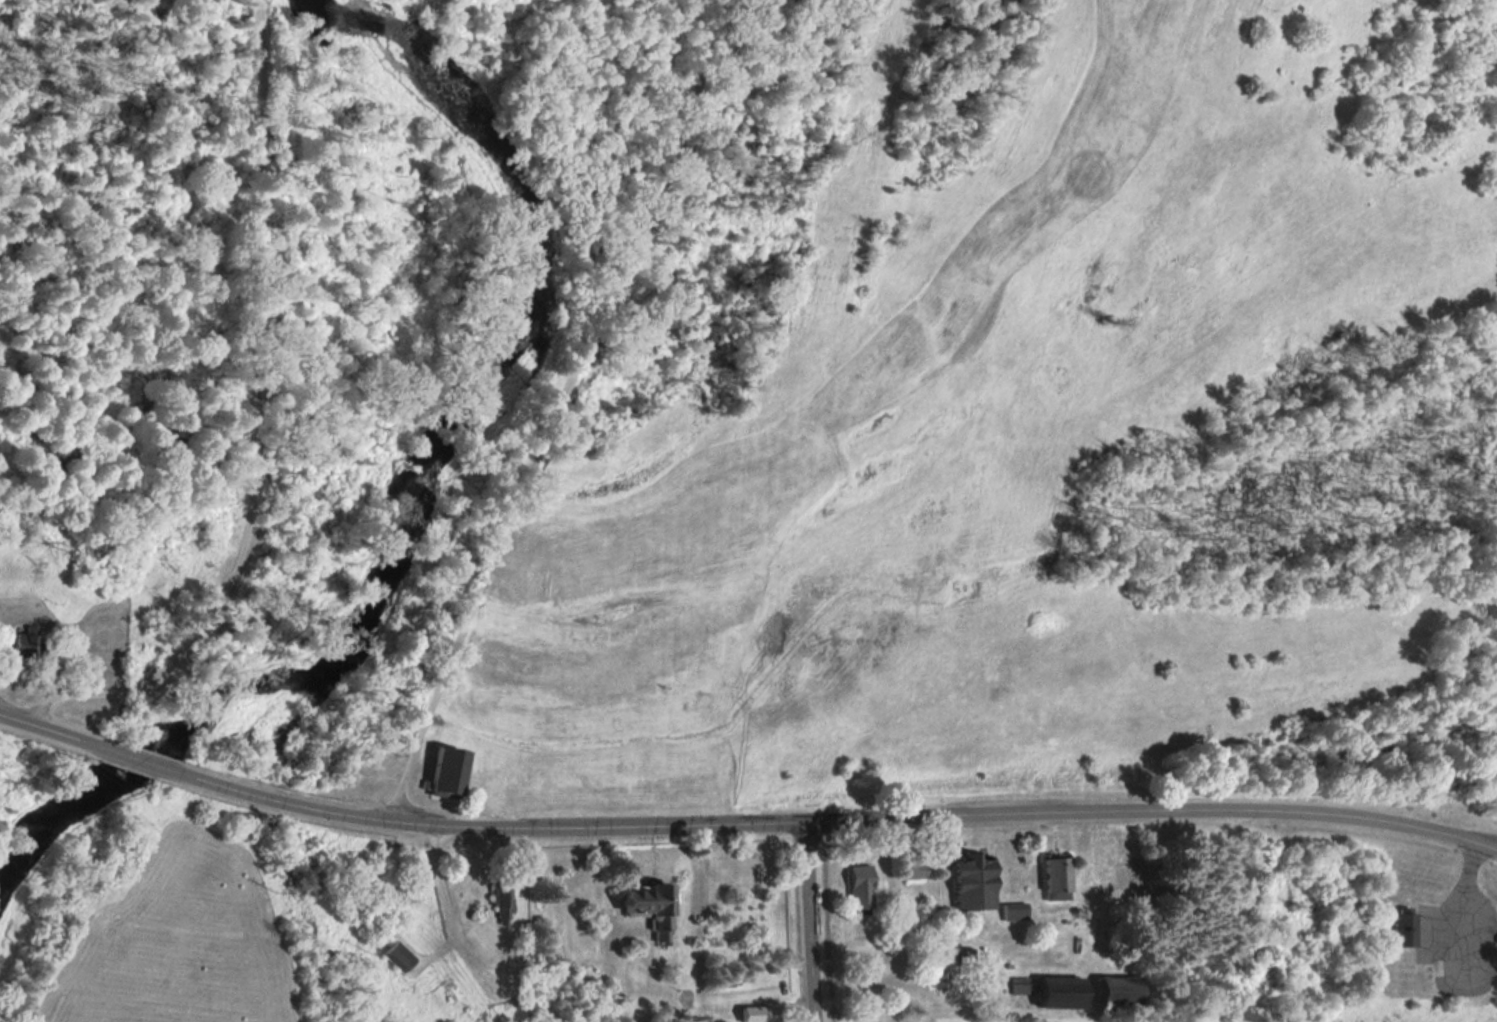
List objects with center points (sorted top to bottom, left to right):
road: (559, 409)
road: (254, 422)
river: (411, 489)
building: (27, 645)
road: (52, 731)
road: (138, 760)
building: (449, 775)
road: (832, 820)
building: (917, 872)
building: (1129, 877)
building: (1059, 879)
building: (977, 883)
building: (862, 888)
building: (503, 907)
building: (655, 908)
building: (1017, 913)
road: (809, 922)
building: (1406, 930)
building: (399, 958)
building: (940, 977)
building: (1021, 988)
building: (1122, 991)
building: (1064, 993)
building: (760, 1015)

